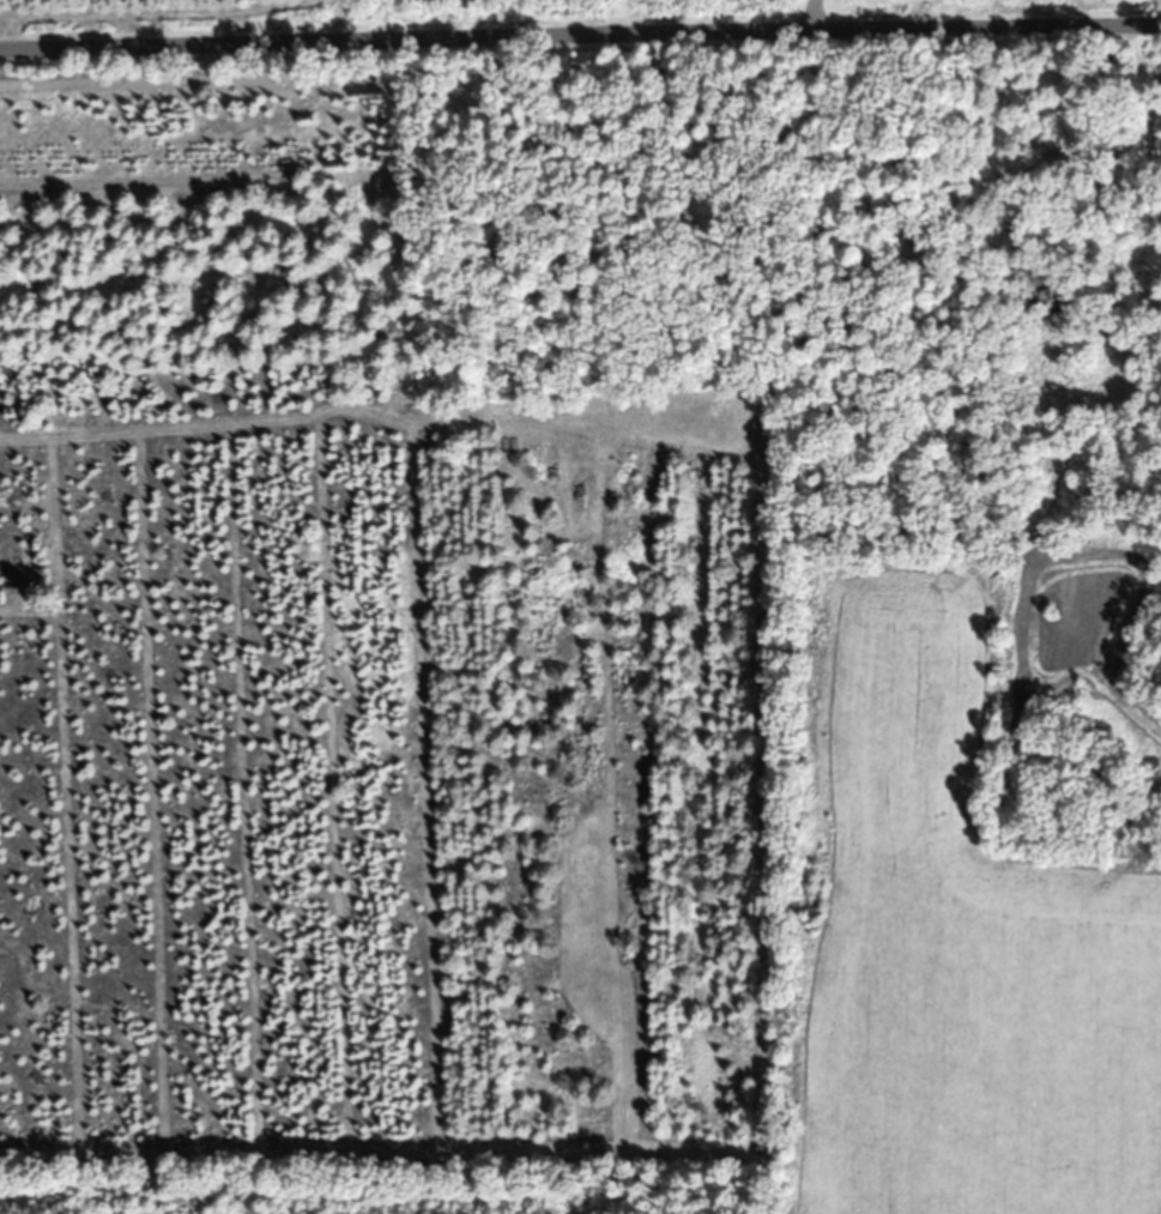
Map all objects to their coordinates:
road: (580, 35)
building: (1148, 191)

